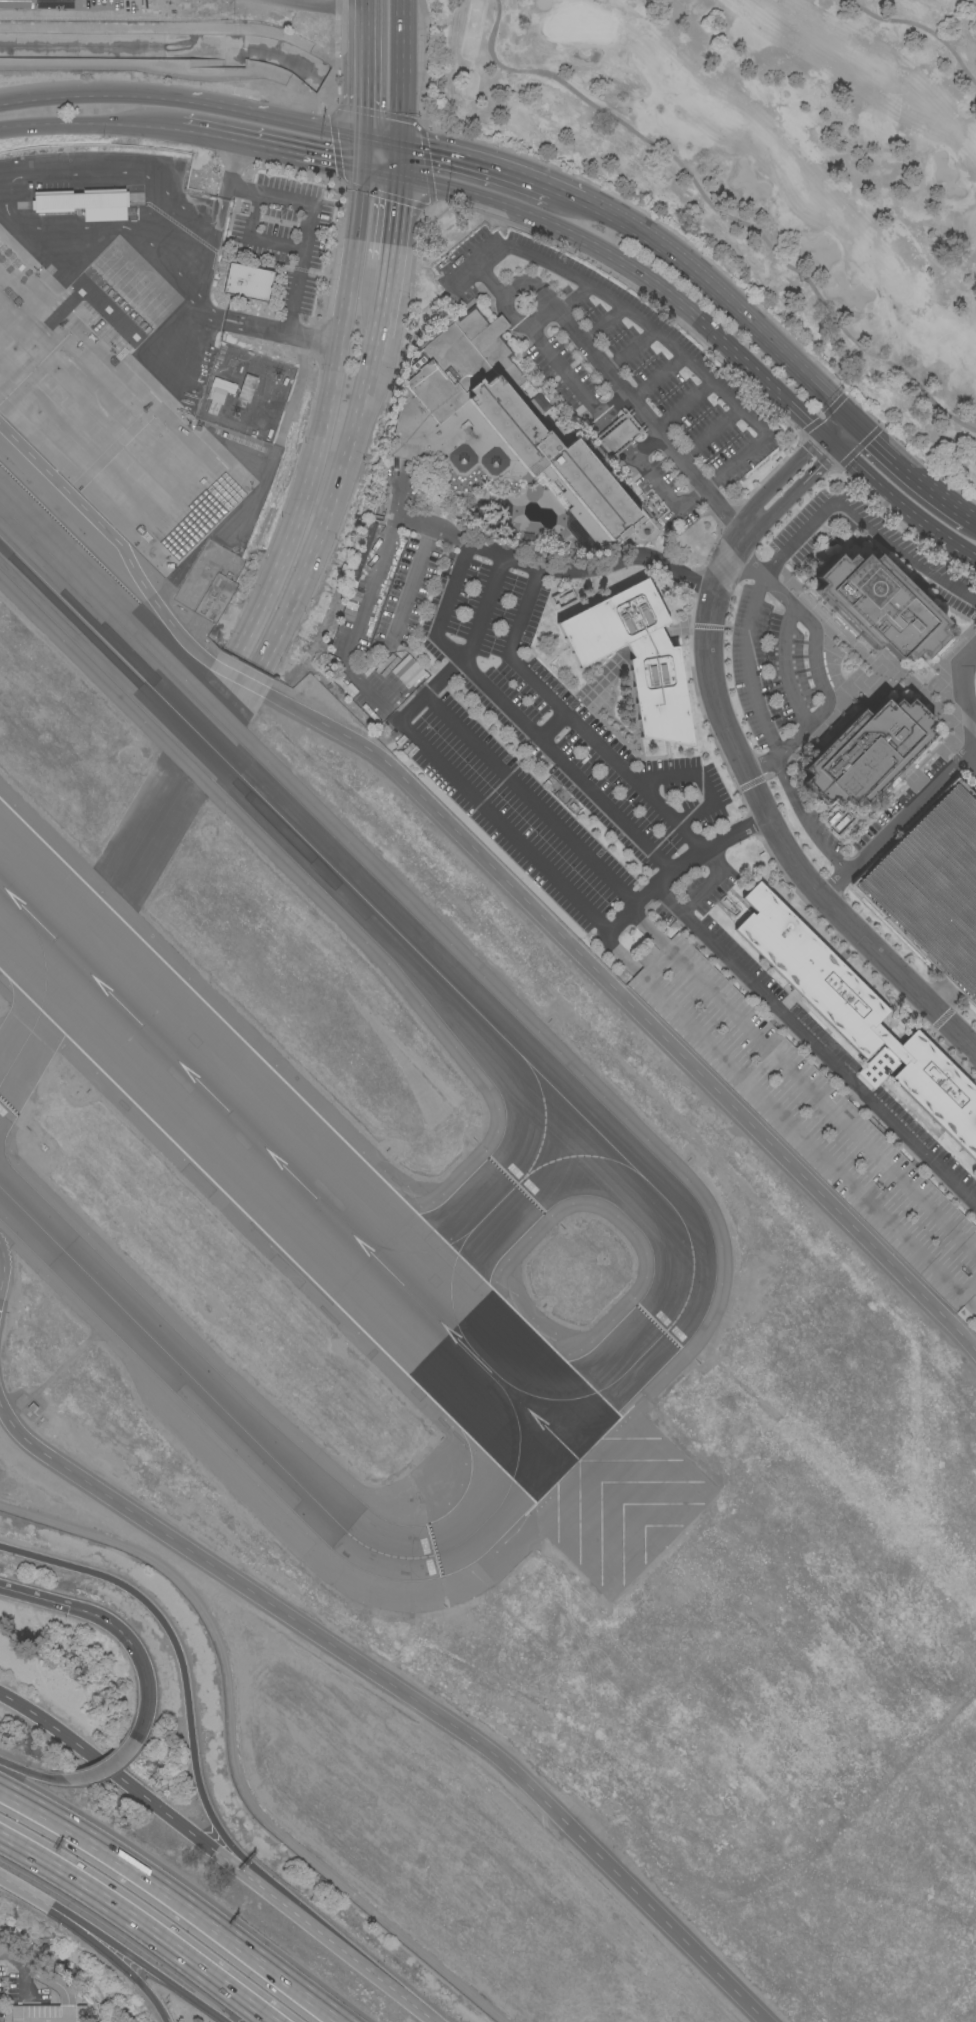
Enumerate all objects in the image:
road: (104, 12)
road: (919, 26)
airport: (177, 40)
road: (366, 67)
road: (402, 70)
road: (92, 95)
road: (275, 117)
road: (90, 123)
traffic signals: (365, 134)
road: (382, 137)
road: (222, 138)
traffic signals: (400, 140)
road: (363, 151)
road: (313, 157)
road: (398, 157)
road: (476, 160)
park: (769, 162)
road: (231, 168)
traffic signals: (362, 168)
road: (379, 171)
traffic signals: (397, 175)
road: (569, 194)
building: (86, 203)
road: (719, 213)
road: (392, 219)
road: (309, 226)
parking lot: (289, 235)
road: (253, 238)
road: (207, 263)
road: (477, 265)
road: (629, 271)
building: (249, 282)
road: (490, 283)
road: (708, 284)
road: (540, 292)
road: (575, 298)
road: (381, 305)
road: (605, 324)
road: (648, 327)
road: (280, 334)
road: (632, 350)
parking lot: (617, 364)
road: (561, 371)
road: (371, 374)
road: (657, 377)
building: (222, 385)
building: (247, 388)
road: (835, 404)
road: (685, 406)
road: (606, 410)
road: (644, 413)
road: (323, 416)
traffic signals: (854, 422)
building: (502, 427)
road: (837, 430)
road: (711, 433)
building: (617, 436)
road: (617, 437)
road: (844, 437)
traffic signals: (820, 438)
road: (647, 445)
road: (827, 445)
road: (628, 450)
traffic signals: (835, 452)
road: (634, 458)
road: (735, 463)
road: (910, 472)
road: (780, 478)
road: (655, 485)
road: (795, 492)
road: (690, 500)
road: (903, 509)
road: (973, 519)
road: (431, 528)
road: (324, 537)
road: (789, 538)
road: (594, 571)
parking lot: (926, 582)
building: (880, 606)
road: (362, 607)
road: (485, 612)
road: (402, 618)
parking lot: (781, 636)
road: (815, 646)
building: (335, 650)
building: (636, 657)
road: (785, 668)
building: (352, 692)
road: (966, 706)
road: (971, 709)
parking lot: (510, 717)
road: (571, 721)
road: (519, 722)
building: (867, 752)
road: (970, 761)
road: (761, 767)
road: (667, 778)
road: (708, 789)
road: (473, 798)
road: (530, 800)
road: (698, 817)
road: (764, 819)
road: (805, 819)
building: (838, 821)
road: (887, 832)
road: (945, 846)
road: (679, 866)
airport taxiway: (327, 871)
road: (495, 873)
road: (878, 887)
building: (933, 887)
parking lot: (933, 887)
road: (940, 897)
road: (966, 921)
parking lot: (735, 940)
road: (968, 960)
road: (942, 997)
airport taxiway: (37, 1017)
building: (859, 1017)
road: (814, 1045)
parking lot: (805, 1112)
building: (810, 1117)
parking lot: (928, 1138)
airport runway: (280, 1163)
airport taxiway: (495, 1209)
road: (4, 1272)
airport taxiway: (668, 1331)
airport taxiway: (164, 1353)
airport: (460, 1359)
airport taxiway: (457, 1543)
road: (67, 1606)
traffic signals: (68, 1607)
road: (168, 1633)
road: (145, 1689)
road: (399, 1690)
road: (13, 1768)
road: (103, 1769)
road: (44, 1777)
road: (120, 1780)
road: (225, 1846)
road: (39, 1897)
road: (173, 1899)
road: (140, 1922)
road: (335, 1946)
road: (107, 1951)
road: (151, 1971)
road: (45, 1977)
road: (152, 1999)
road: (226, 2021)

